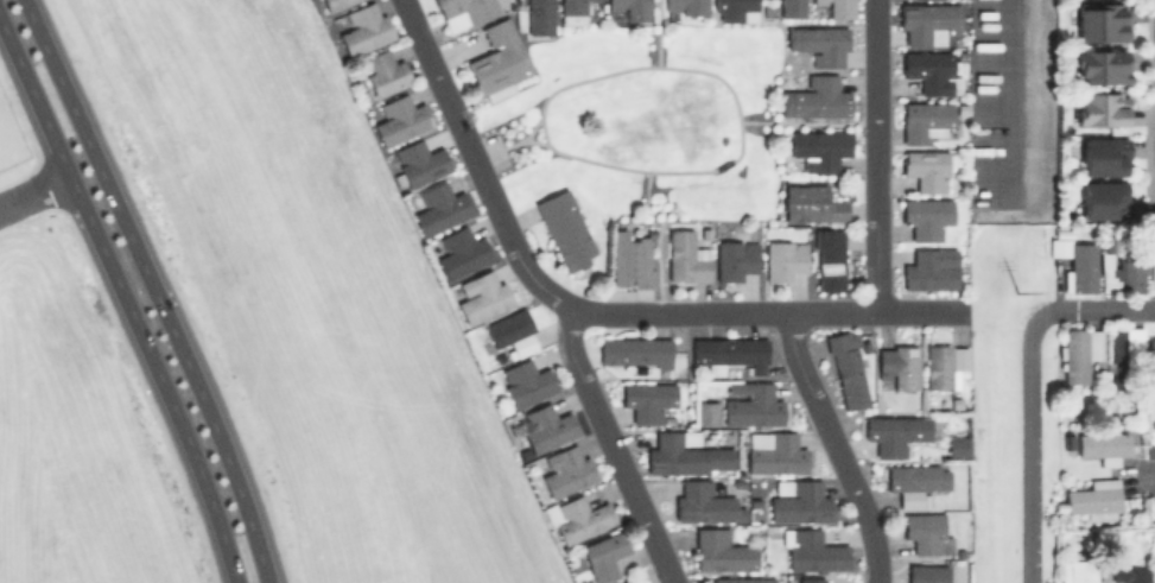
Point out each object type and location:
building: (819, 1)
building: (334, 4)
building: (687, 6)
building: (786, 8)
building: (842, 8)
building: (735, 9)
building: (627, 11)
building: (464, 12)
building: (572, 12)
building: (539, 19)
building: (927, 21)
building: (1098, 21)
building: (363, 28)
road: (659, 31)
building: (819, 43)
building: (497, 61)
building: (1099, 66)
building: (932, 71)
building: (382, 72)
building: (816, 99)
road: (1004, 103)
building: (1099, 110)
building: (400, 120)
building: (925, 120)
road: (804, 121)
park: (647, 135)
road: (534, 138)
road: (513, 140)
building: (817, 148)
road: (870, 154)
building: (1104, 154)
building: (418, 164)
road: (634, 165)
building: (927, 169)
building: (1103, 173)
road: (34, 191)
building: (1102, 202)
building: (808, 203)
building: (438, 208)
building: (926, 217)
building: (704, 229)
building: (564, 230)
road: (658, 230)
building: (1065, 241)
building: (1054, 246)
building: (461, 253)
building: (685, 258)
building: (830, 259)
building: (735, 260)
building: (785, 260)
building: (630, 261)
building: (1118, 267)
building: (929, 270)
building: (1081, 270)
road: (153, 289)
road: (550, 292)
road: (126, 297)
building: (483, 297)
road: (918, 310)
building: (507, 325)
building: (521, 342)
building: (636, 349)
building: (729, 351)
building: (1079, 355)
building: (1117, 355)
building: (1151, 360)
building: (899, 363)
building: (945, 363)
building: (846, 366)
building: (526, 380)
road: (1030, 391)
building: (647, 398)
building: (751, 403)
building: (706, 410)
building: (547, 425)
building: (894, 431)
building: (1067, 441)
building: (1103, 443)
road: (836, 444)
building: (957, 444)
road: (610, 445)
building: (774, 450)
building: (684, 452)
building: (567, 468)
building: (914, 481)
building: (1094, 499)
building: (799, 500)
building: (704, 501)
building: (754, 501)
building: (577, 515)
building: (927, 532)
building: (812, 549)
building: (721, 550)
building: (604, 552)
building: (1080, 568)
building: (927, 571)
building: (1129, 574)
building: (742, 578)
building: (811, 578)
building: (623, 581)

